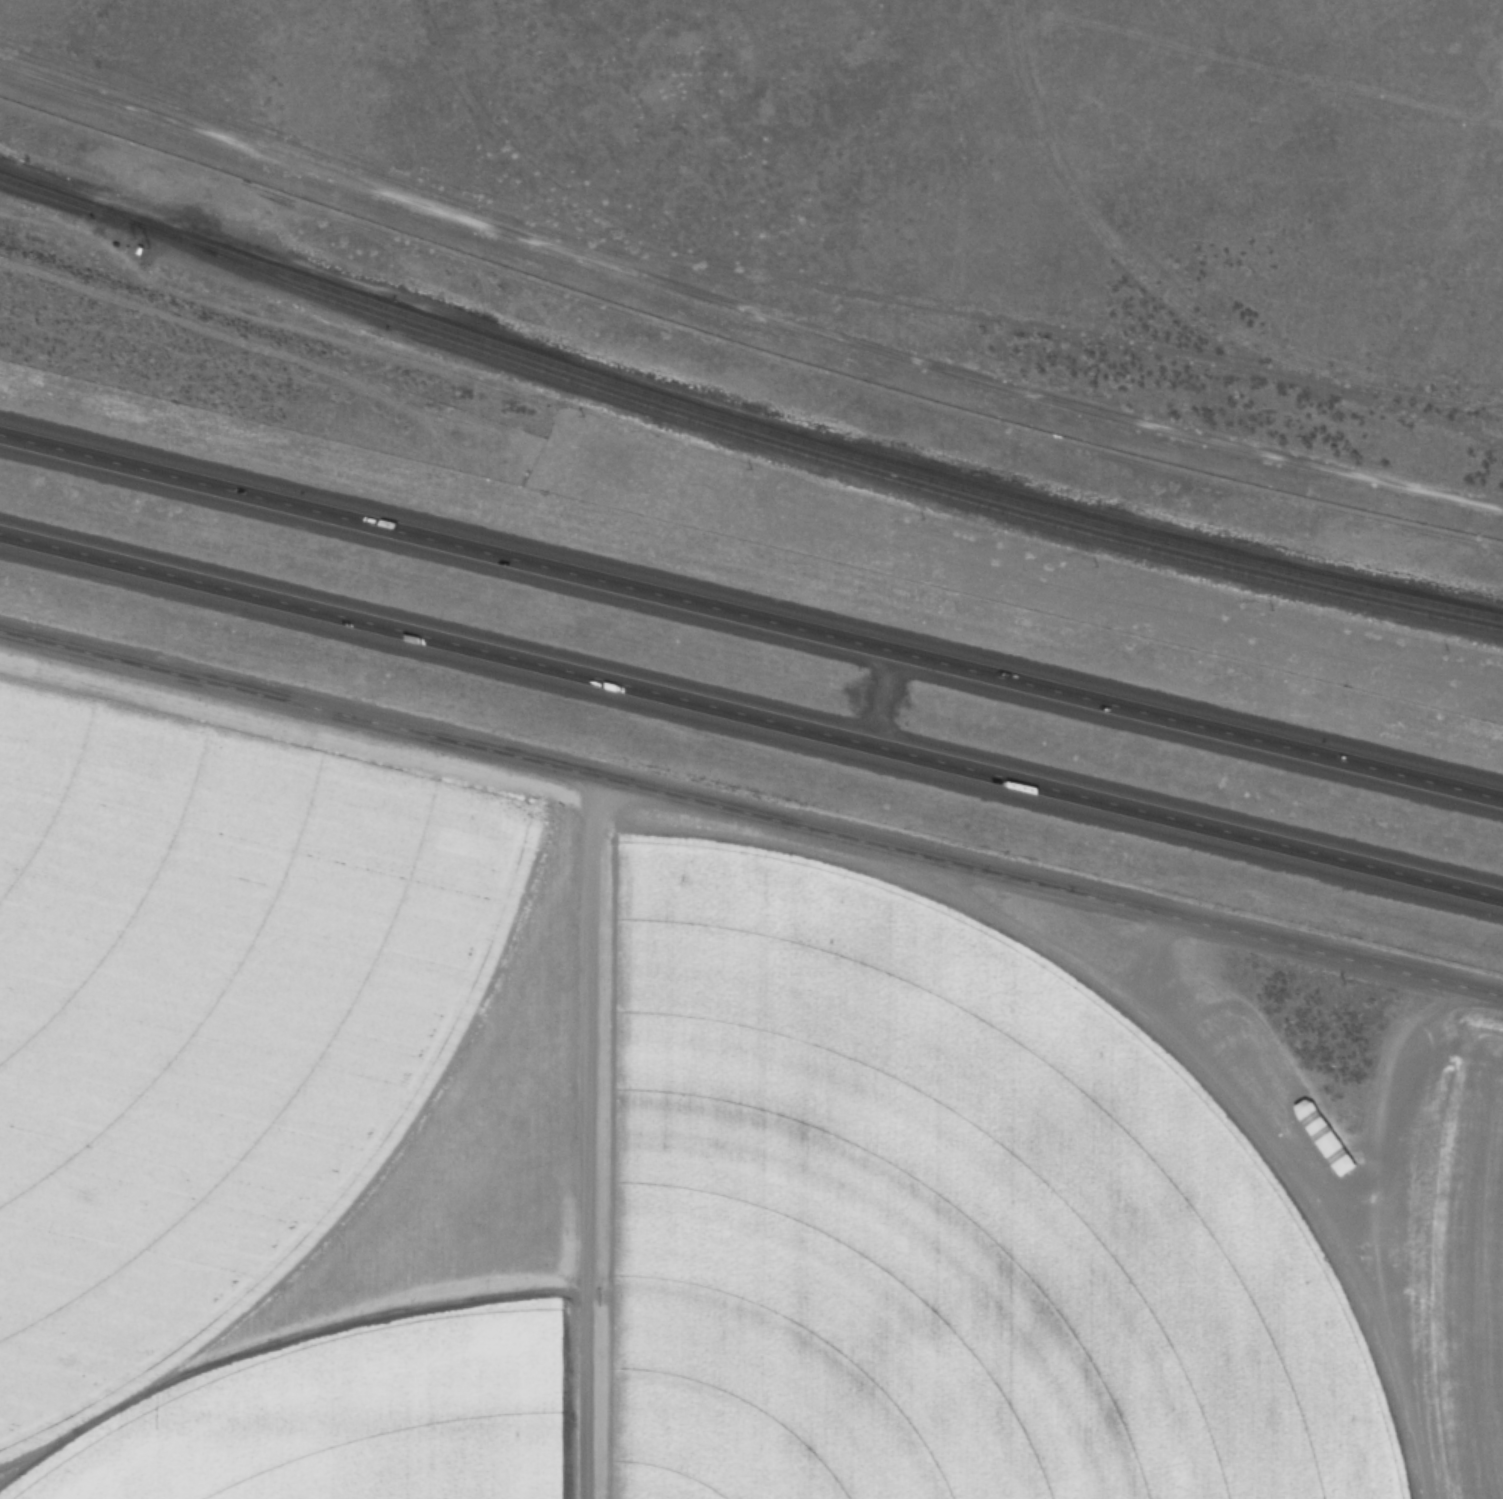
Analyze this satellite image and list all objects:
road: (747, 285)
railway: (1172, 300)
railway: (744, 420)
railway: (807, 453)
road: (751, 605)
road: (751, 702)
road: (751, 813)

